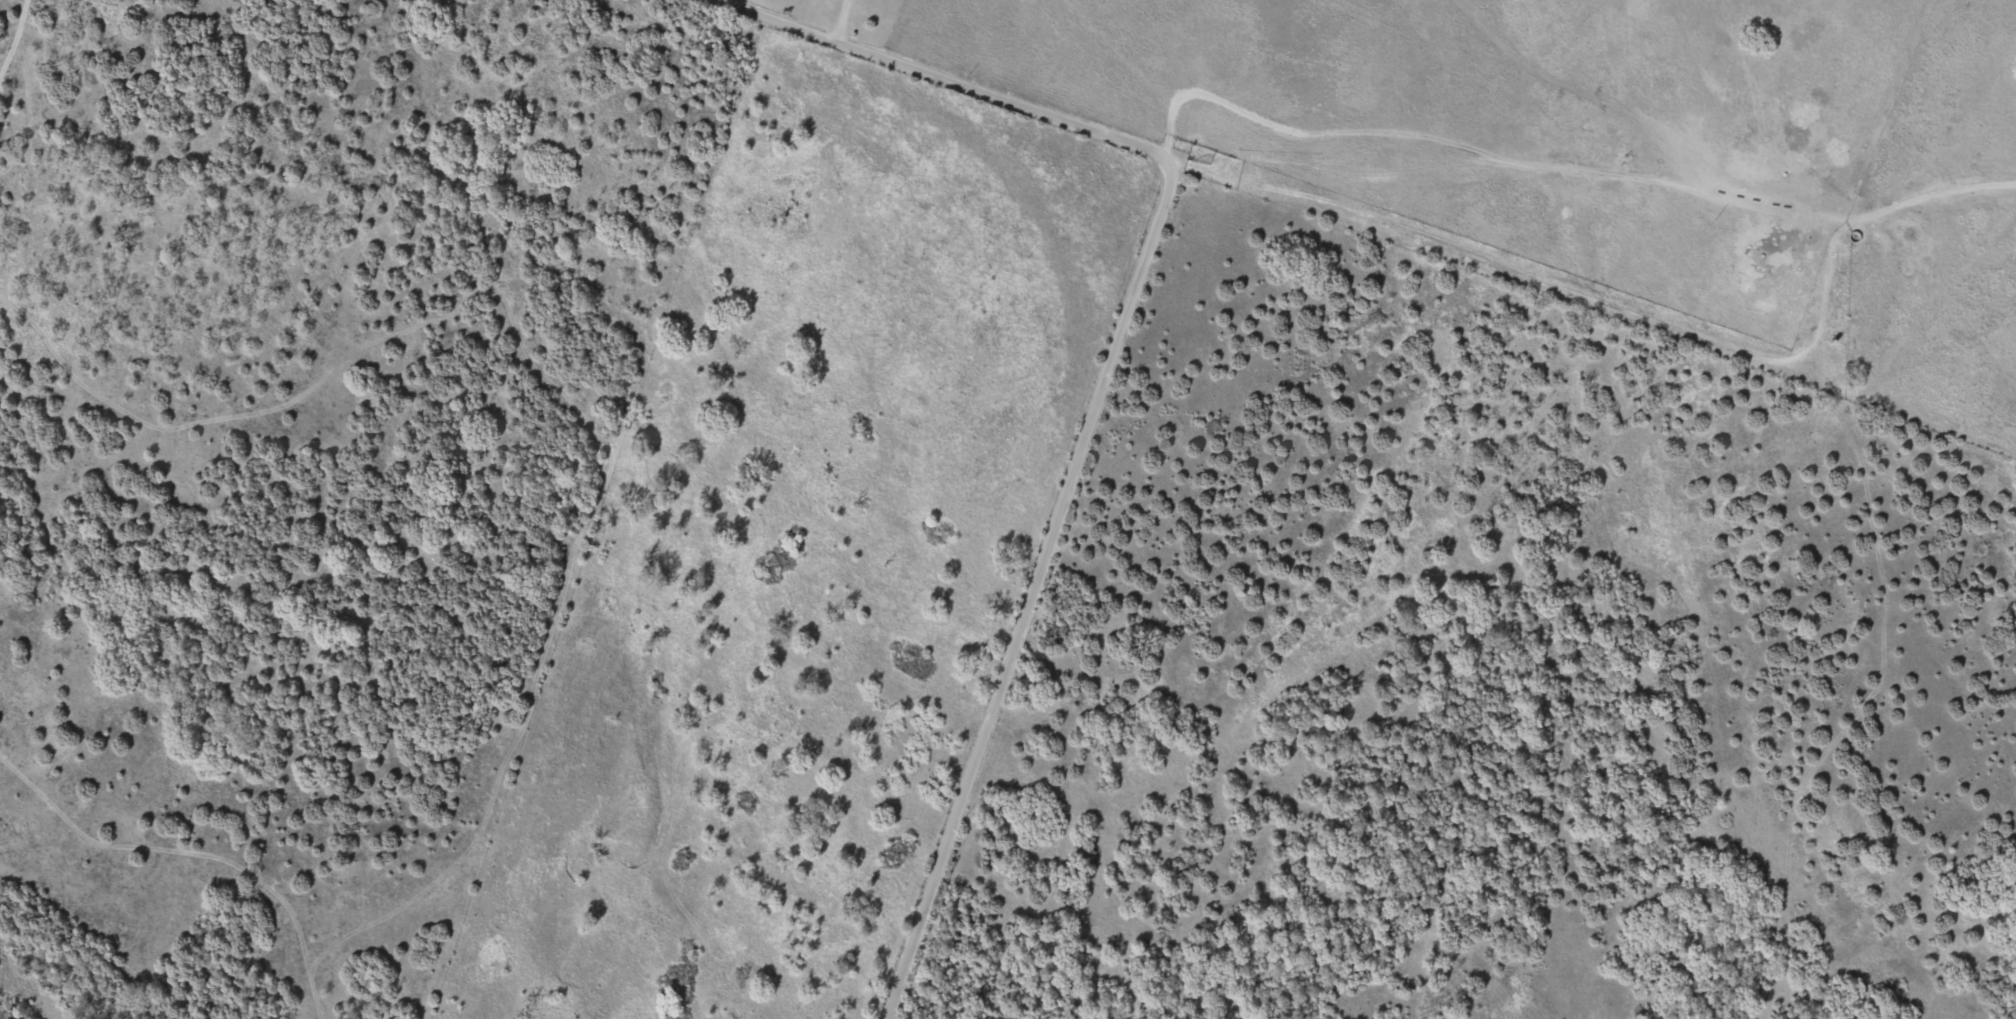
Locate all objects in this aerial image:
road: (15, 38)
road: (940, 77)
road: (1616, 190)
road: (1055, 589)

